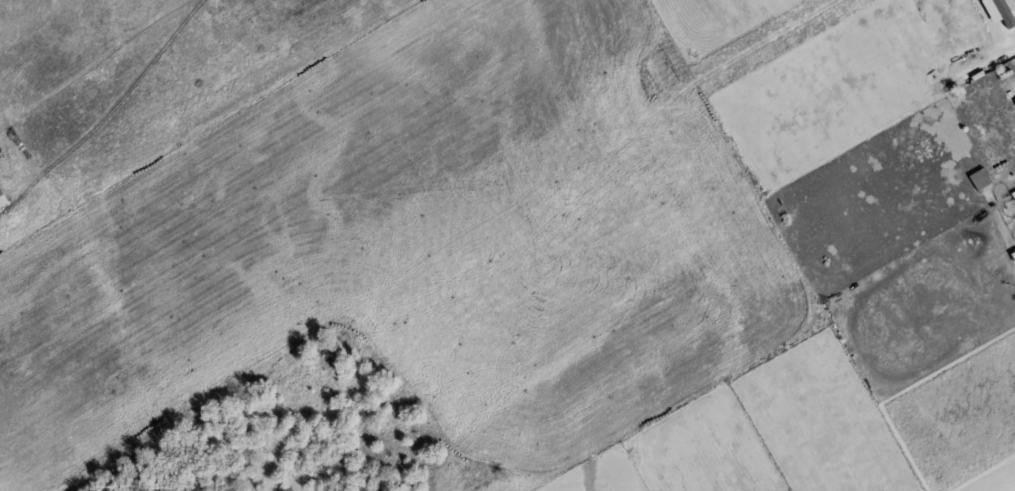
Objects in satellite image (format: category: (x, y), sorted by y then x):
building: (997, 9)
building: (1014, 101)
building: (977, 178)
building: (1, 200)

